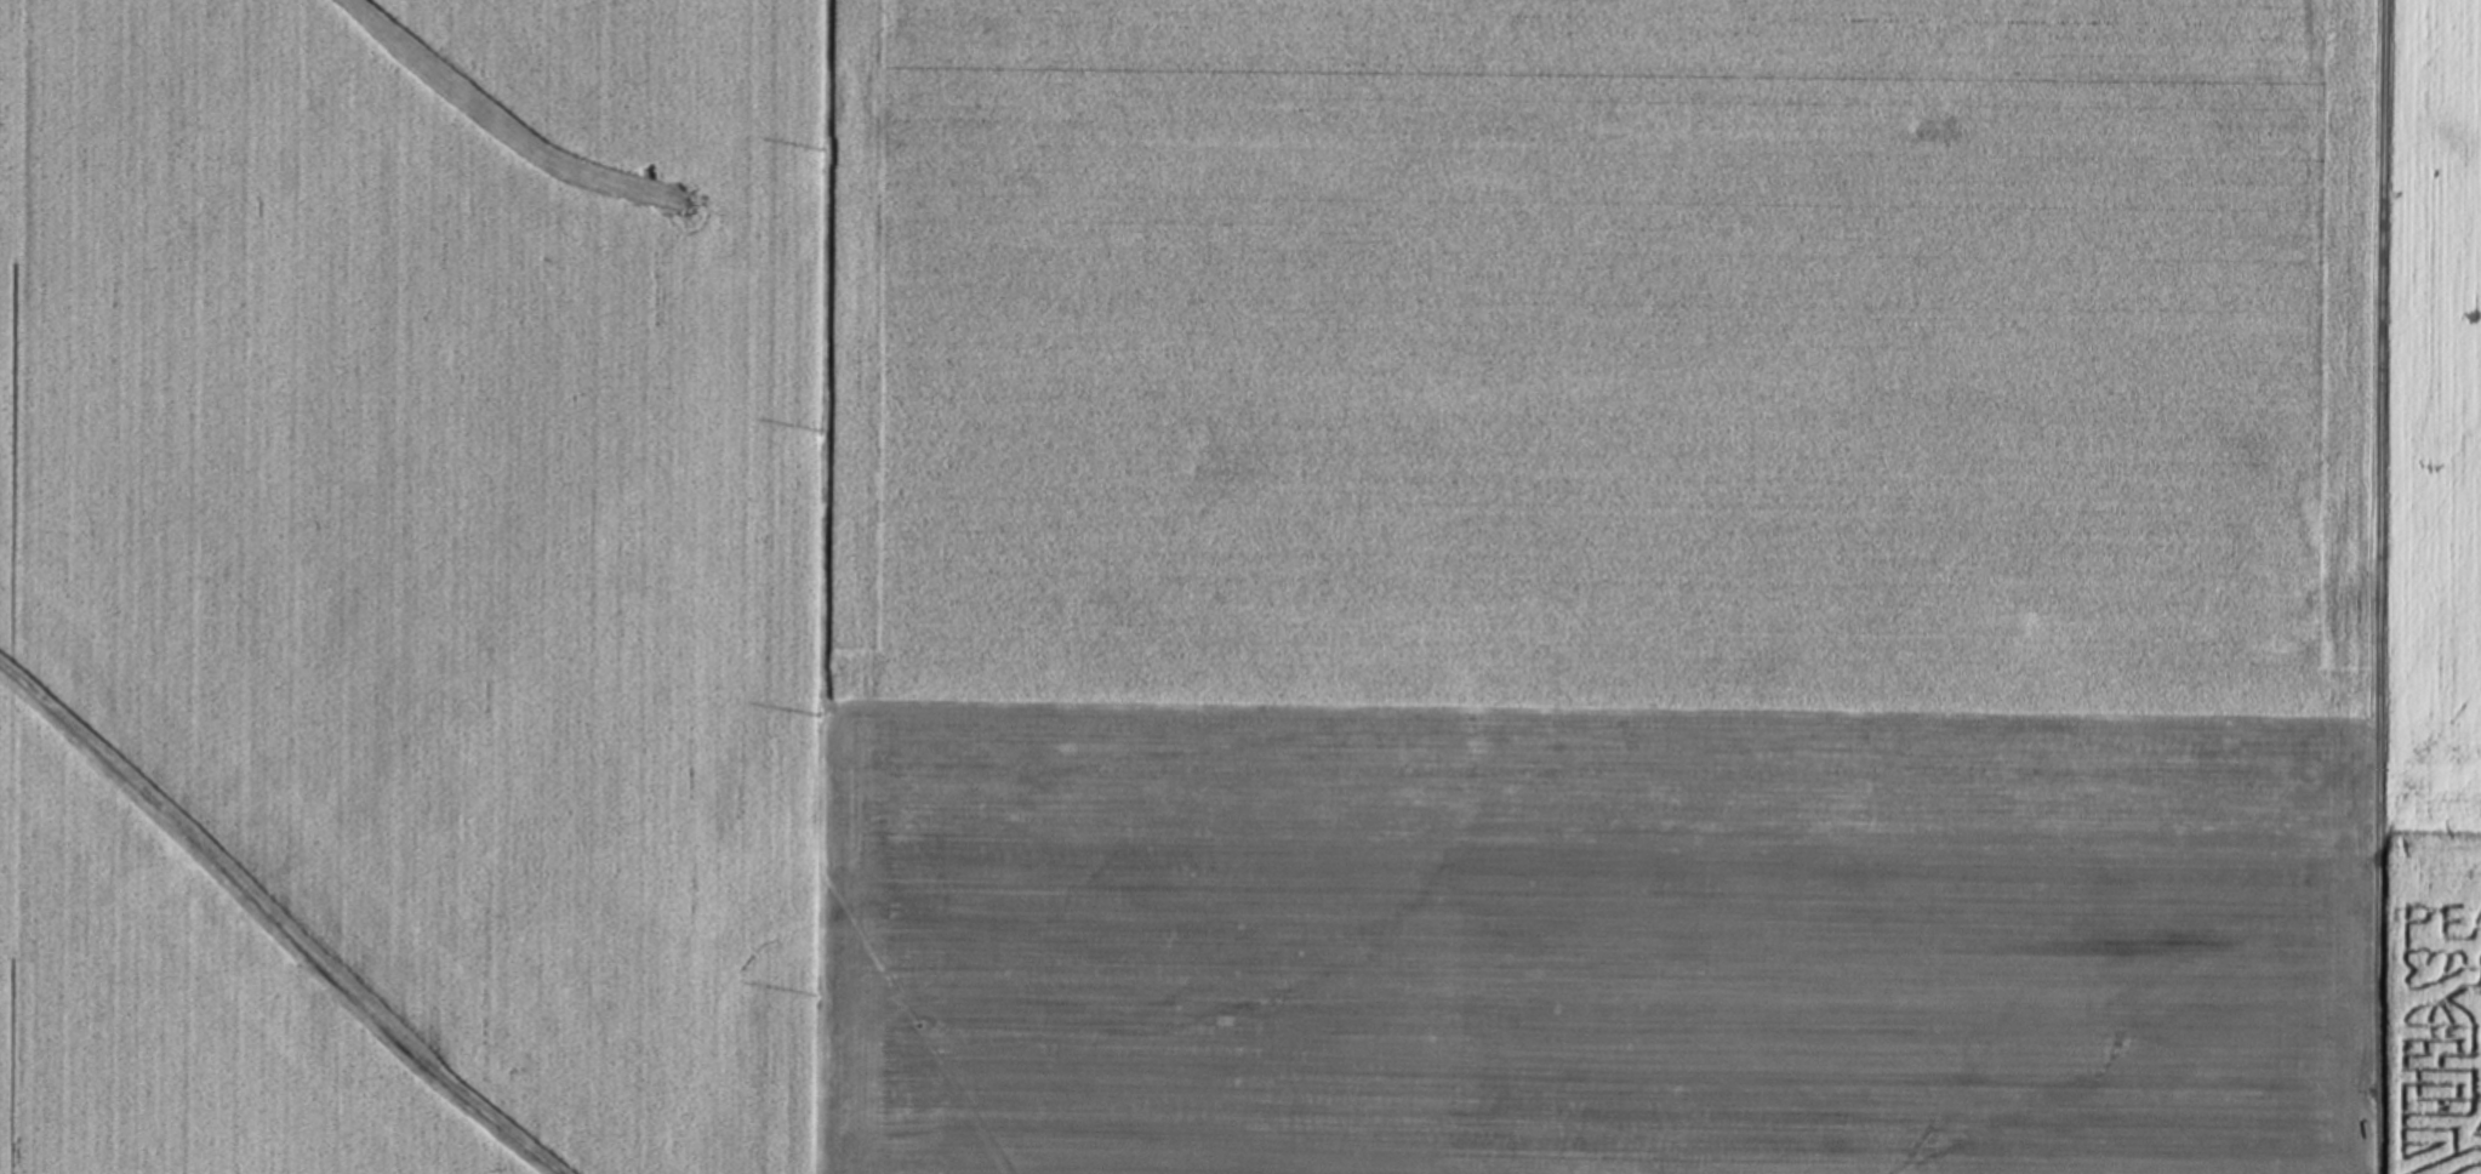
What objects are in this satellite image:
road: (2377, 1095)

